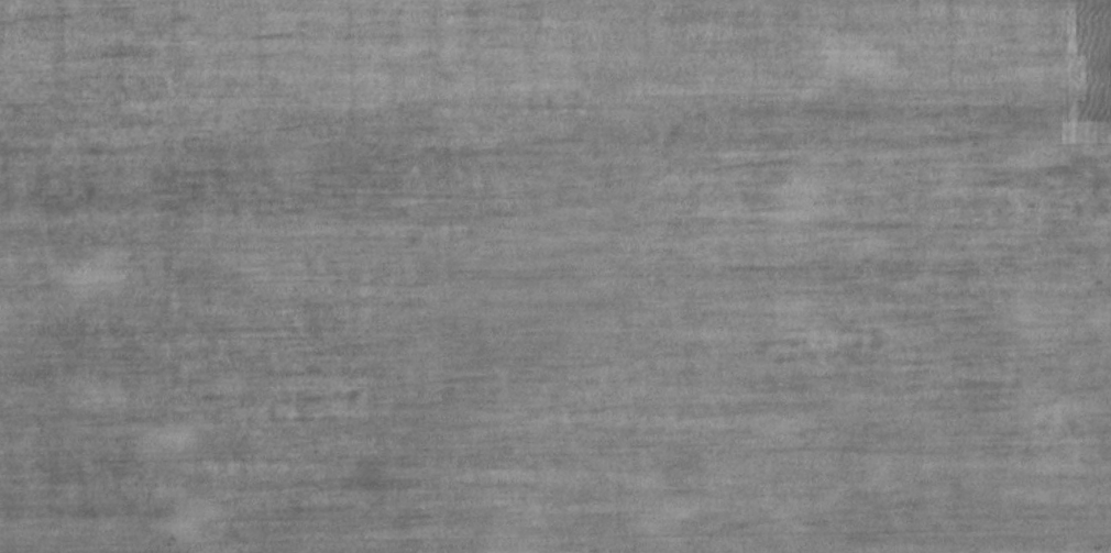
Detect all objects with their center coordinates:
crop: (555, 276)

